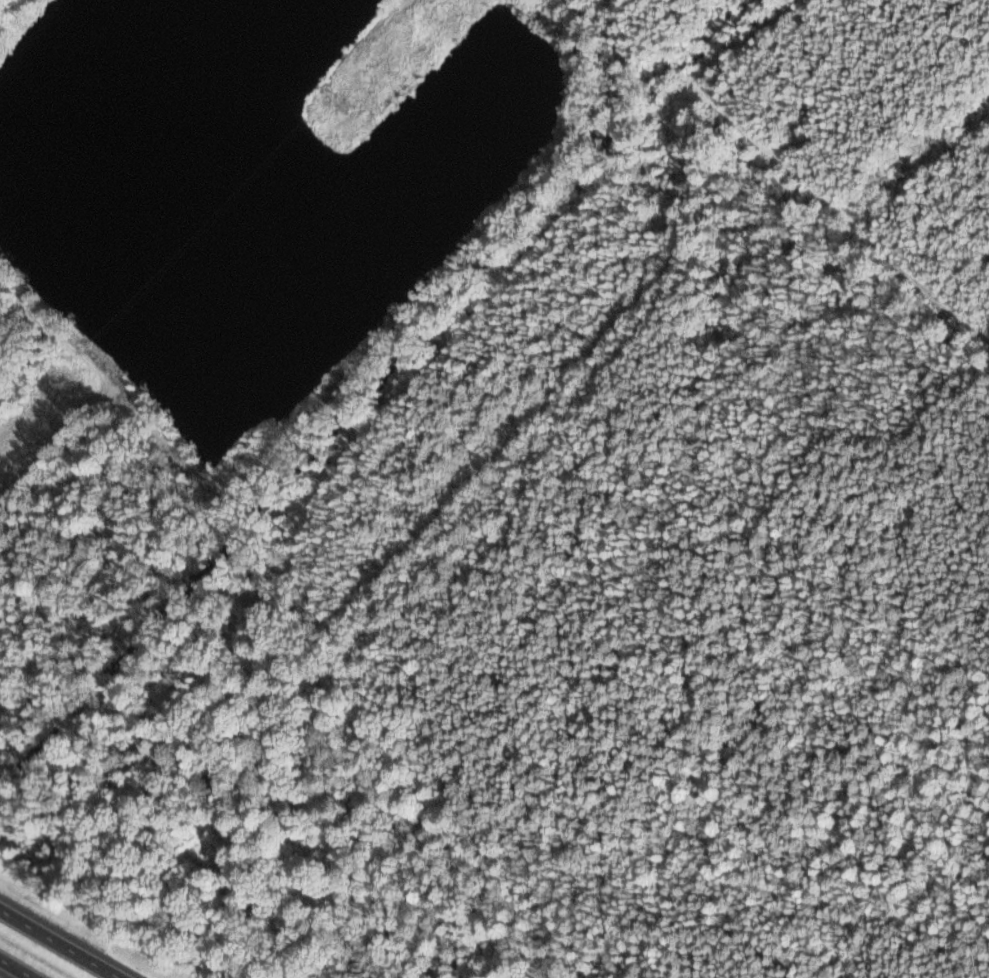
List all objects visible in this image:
power tower: (346, 102)
power tower: (75, 383)
road: (61, 943)
road: (17, 968)

